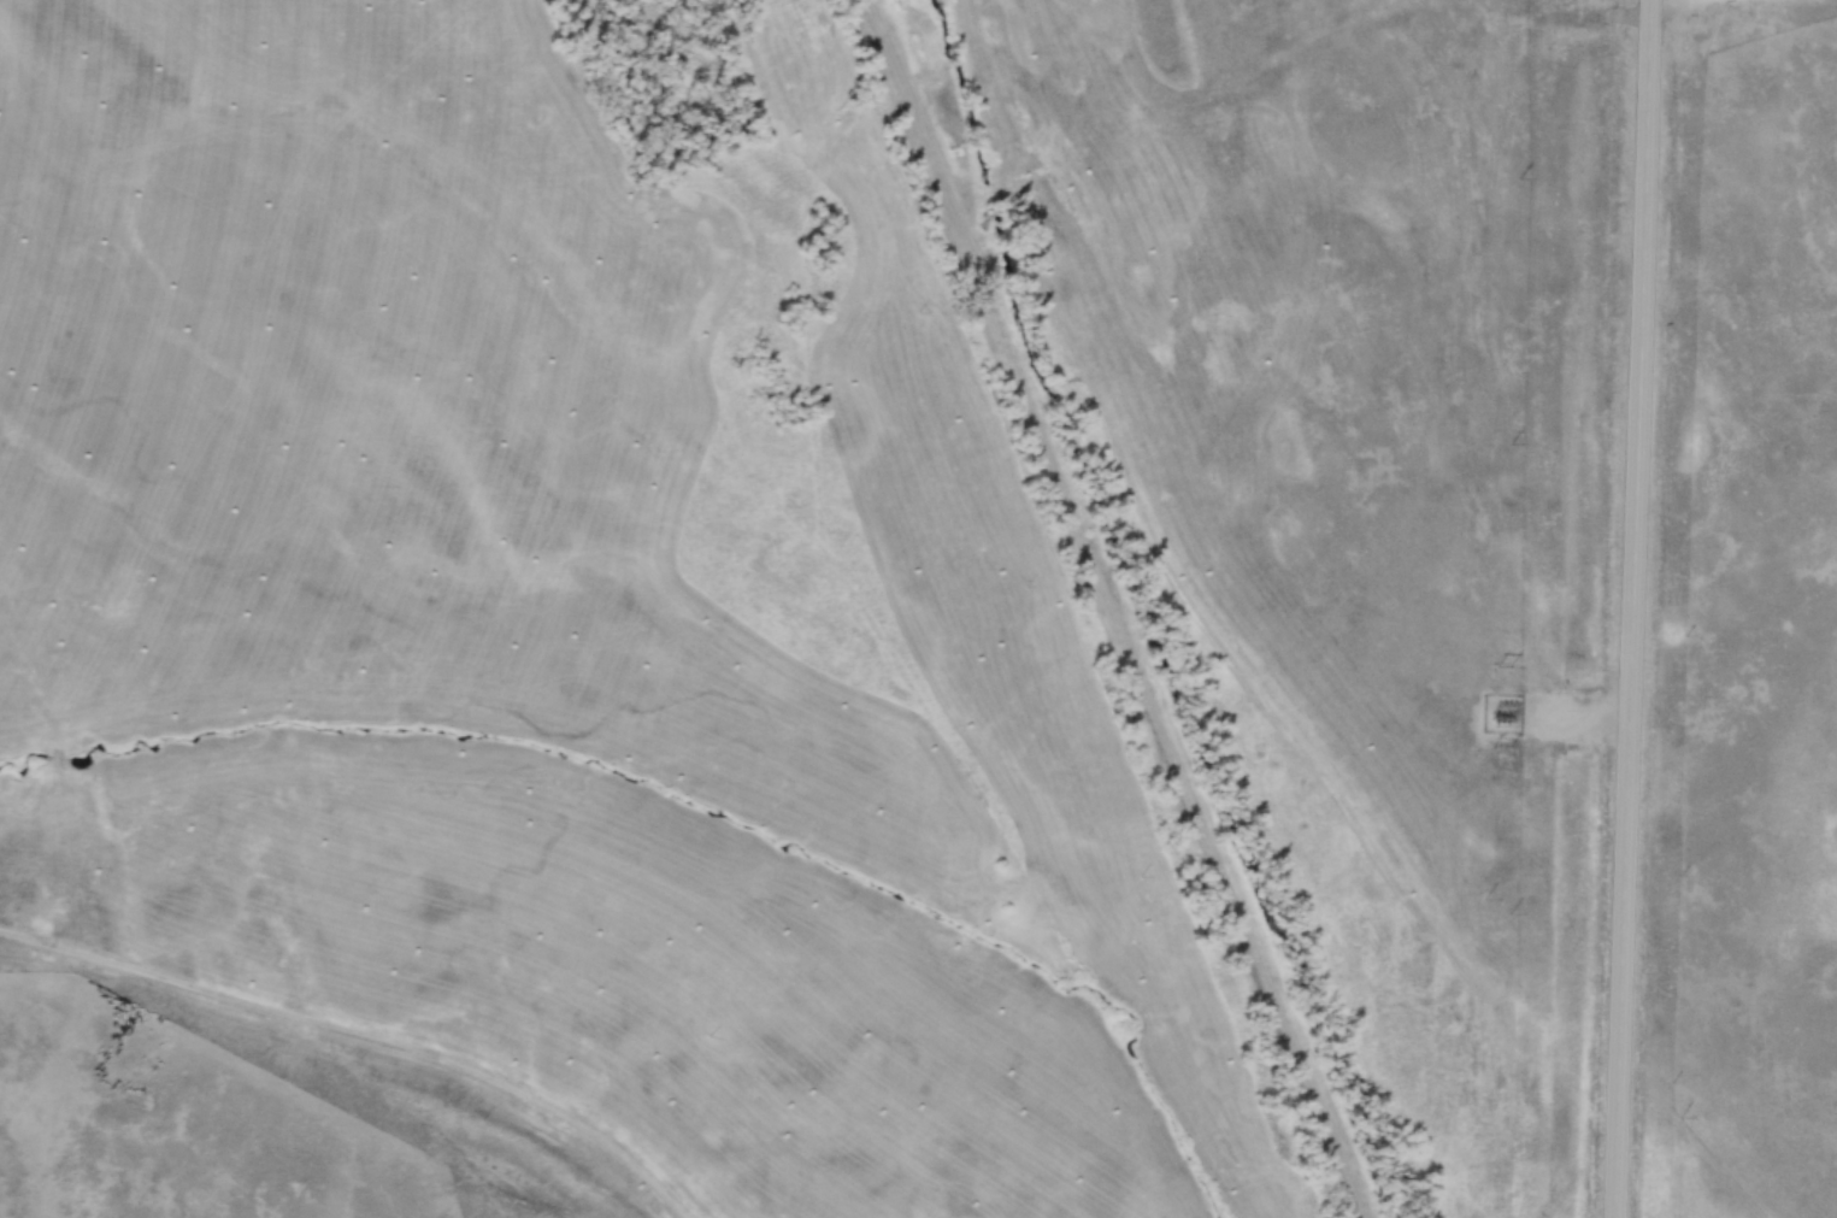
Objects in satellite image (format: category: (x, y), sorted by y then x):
road: (1653, 0)
road: (1629, 608)
road: (1119, 611)
power substation: (1501, 712)
road: (1577, 714)
road: (367, 1035)

